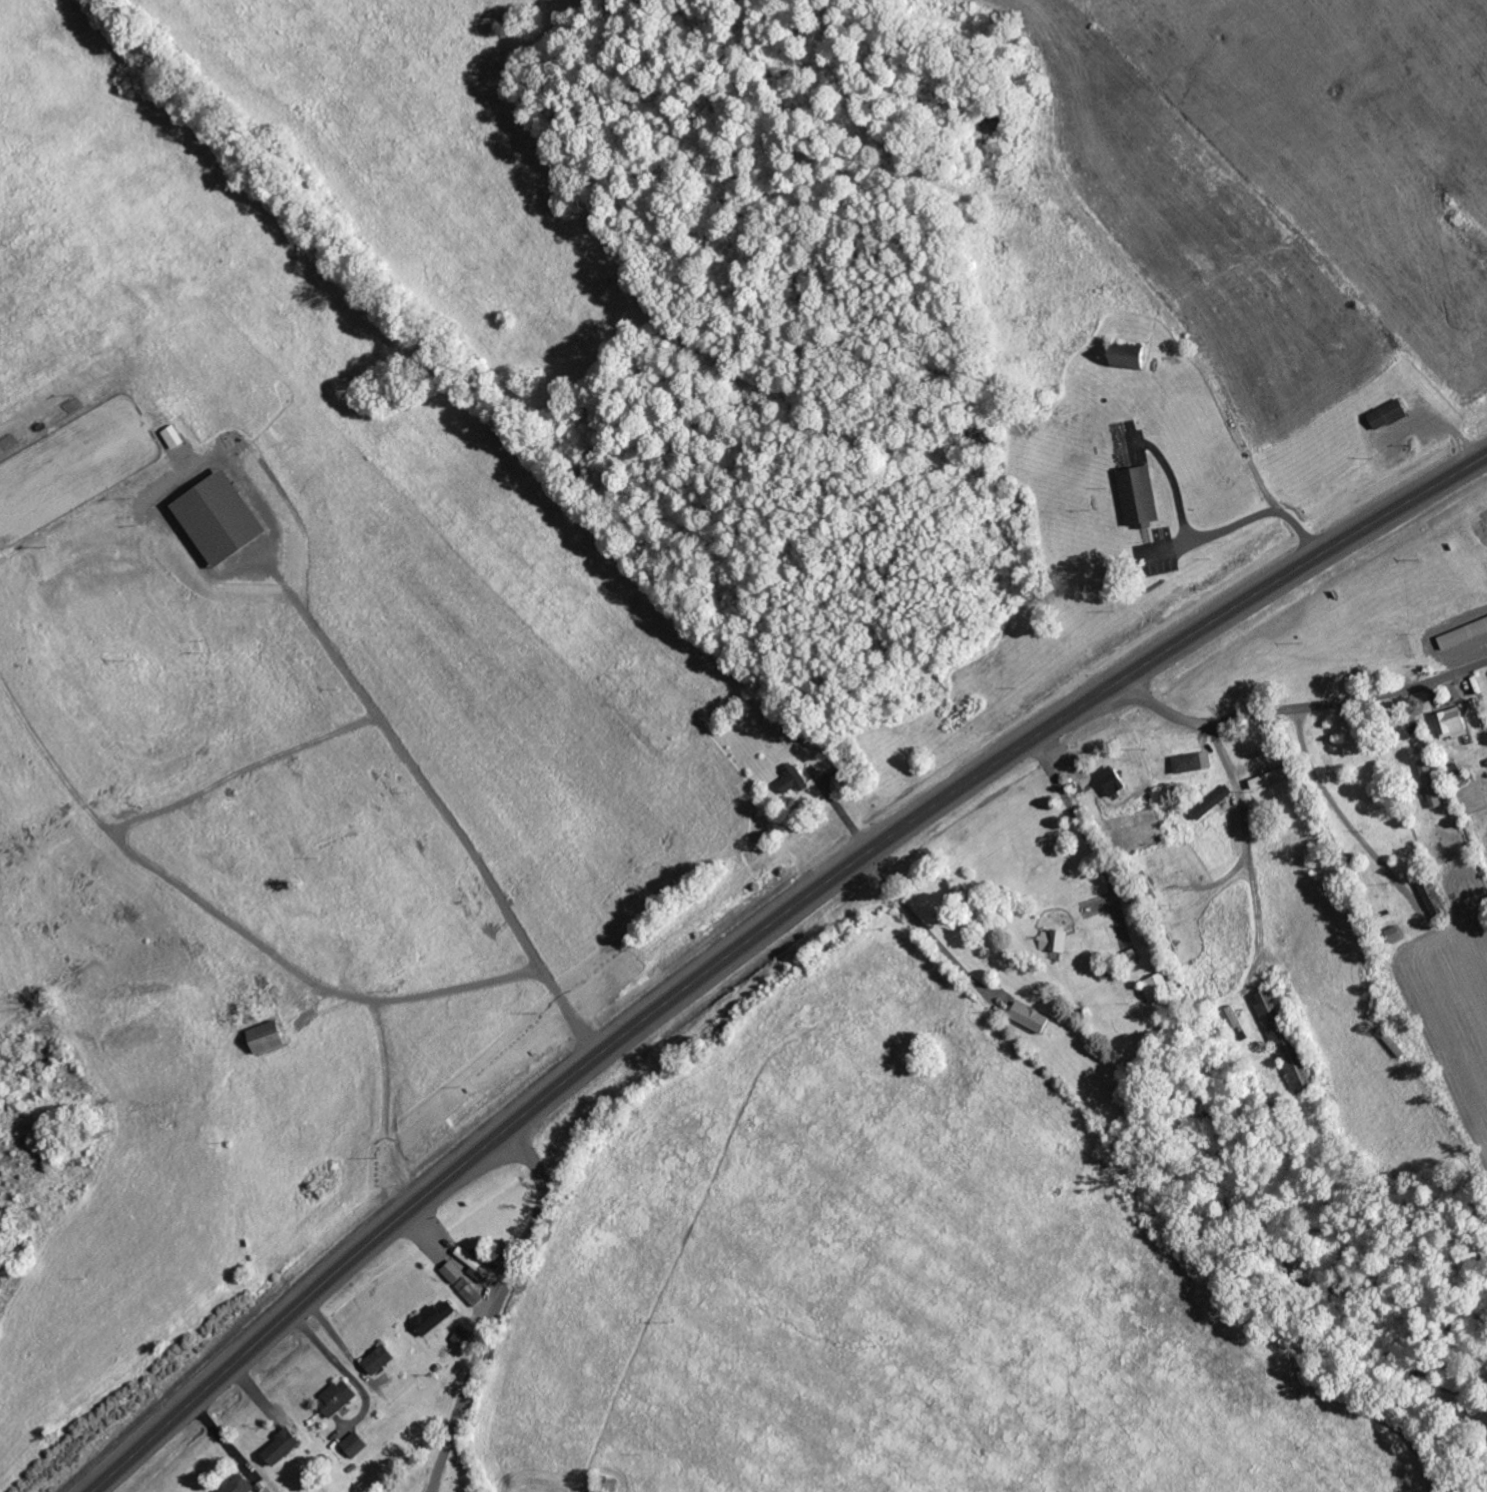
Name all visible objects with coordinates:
road: (962, 328)
building: (1391, 413)
building: (1142, 495)
building: (226, 517)
building: (1464, 633)
road: (1299, 708)
building: (1454, 722)
building: (1195, 761)
building: (1273, 777)
building: (795, 779)
building: (1115, 779)
building: (1430, 783)
building: (1214, 801)
road: (757, 932)
building: (1052, 939)
building: (1156, 986)
building: (1033, 1016)
building: (270, 1036)
building: (476, 1264)
building: (463, 1282)
road: (496, 1307)
building: (436, 1316)
building: (464, 1333)
building: (382, 1358)
building: (340, 1396)
building: (356, 1442)
building: (284, 1445)
building: (240, 1484)

